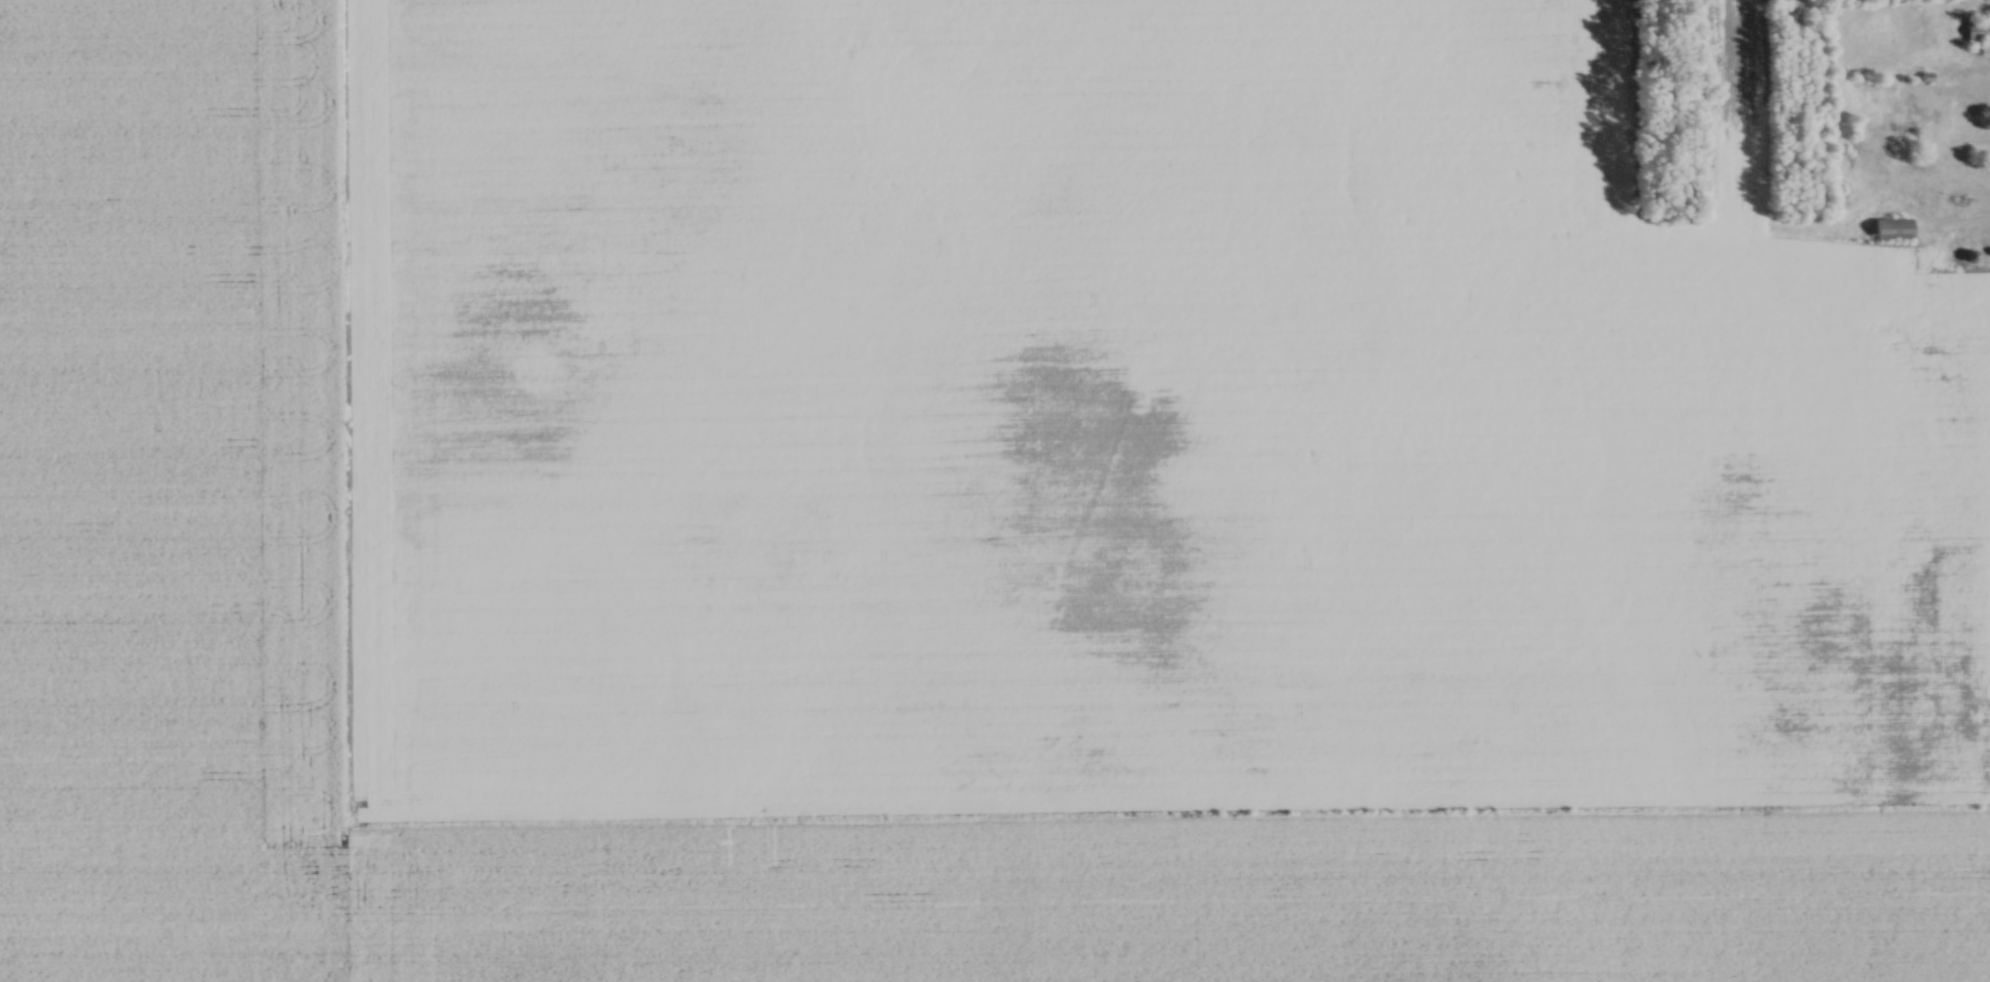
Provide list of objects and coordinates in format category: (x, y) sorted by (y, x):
building: (1779, 1)
building: (1978, 34)
building: (1892, 226)

